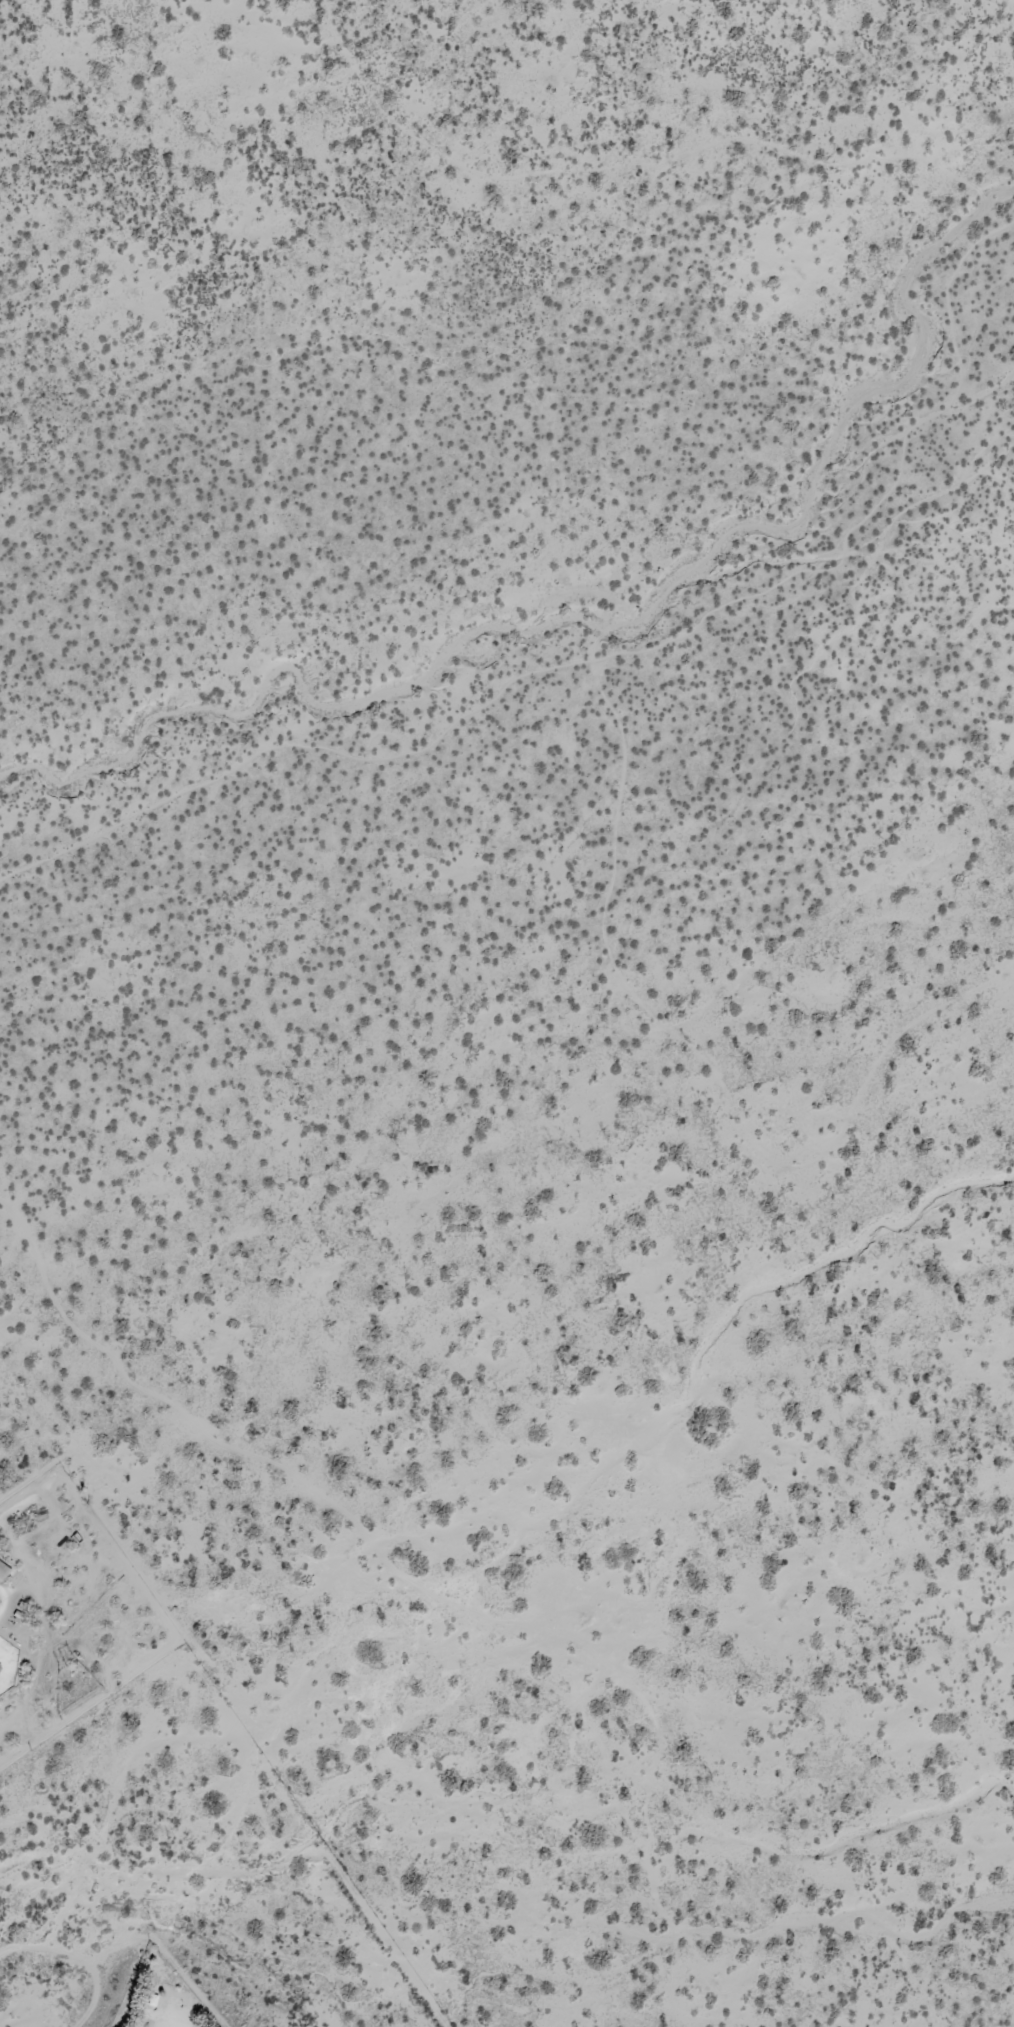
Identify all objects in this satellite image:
road: (377, 687)
road: (127, 1558)
building: (5, 1573)

